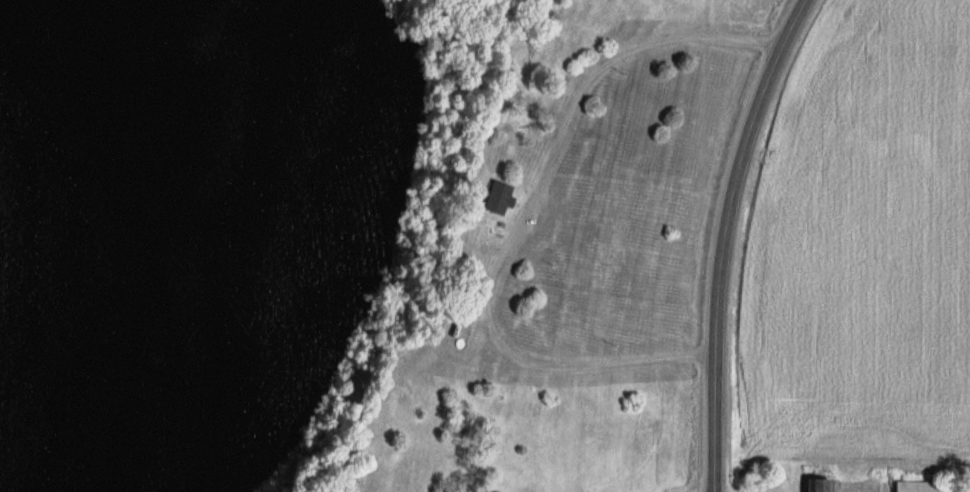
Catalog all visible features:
building: (495, 199)
road: (527, 217)
road: (727, 239)
building: (815, 482)
building: (914, 486)

